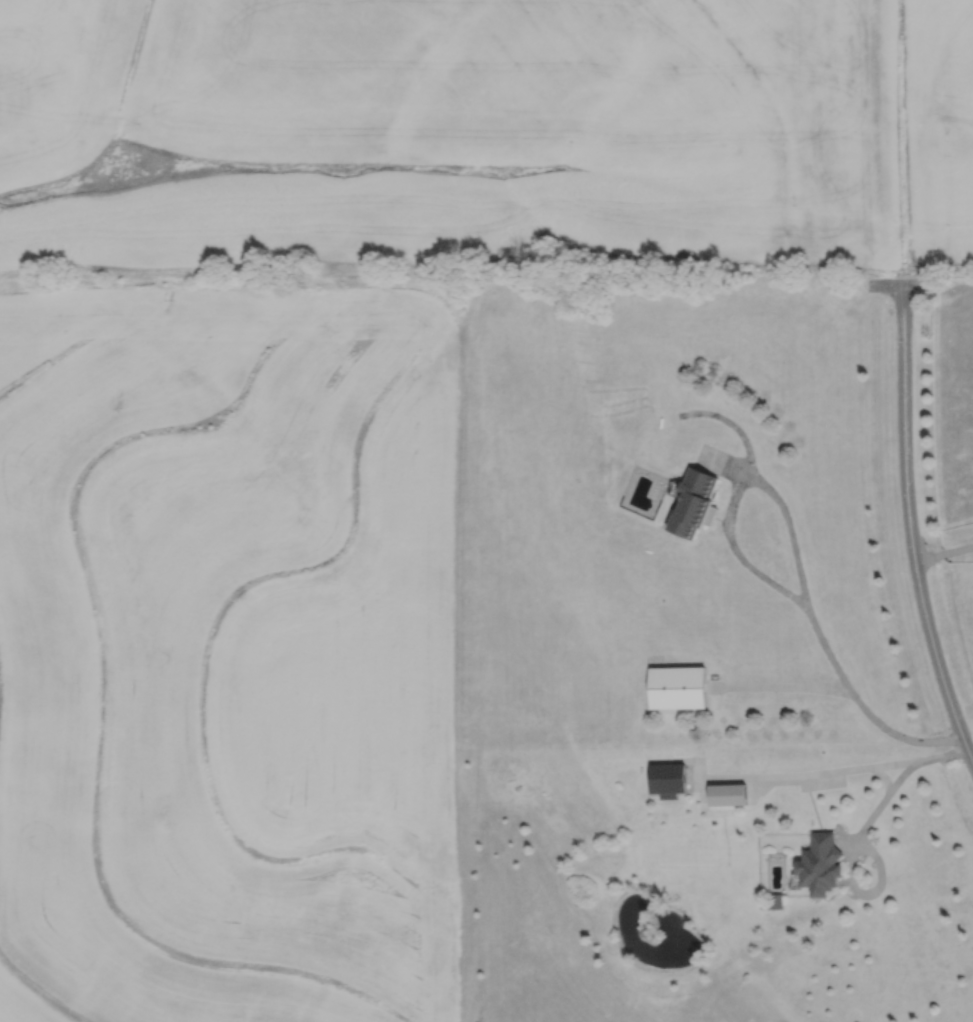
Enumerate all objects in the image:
crop: (937, 137)
building: (693, 503)
road: (909, 524)
road: (943, 554)
road: (795, 556)
building: (678, 689)
road: (902, 775)
building: (669, 779)
building: (820, 866)

